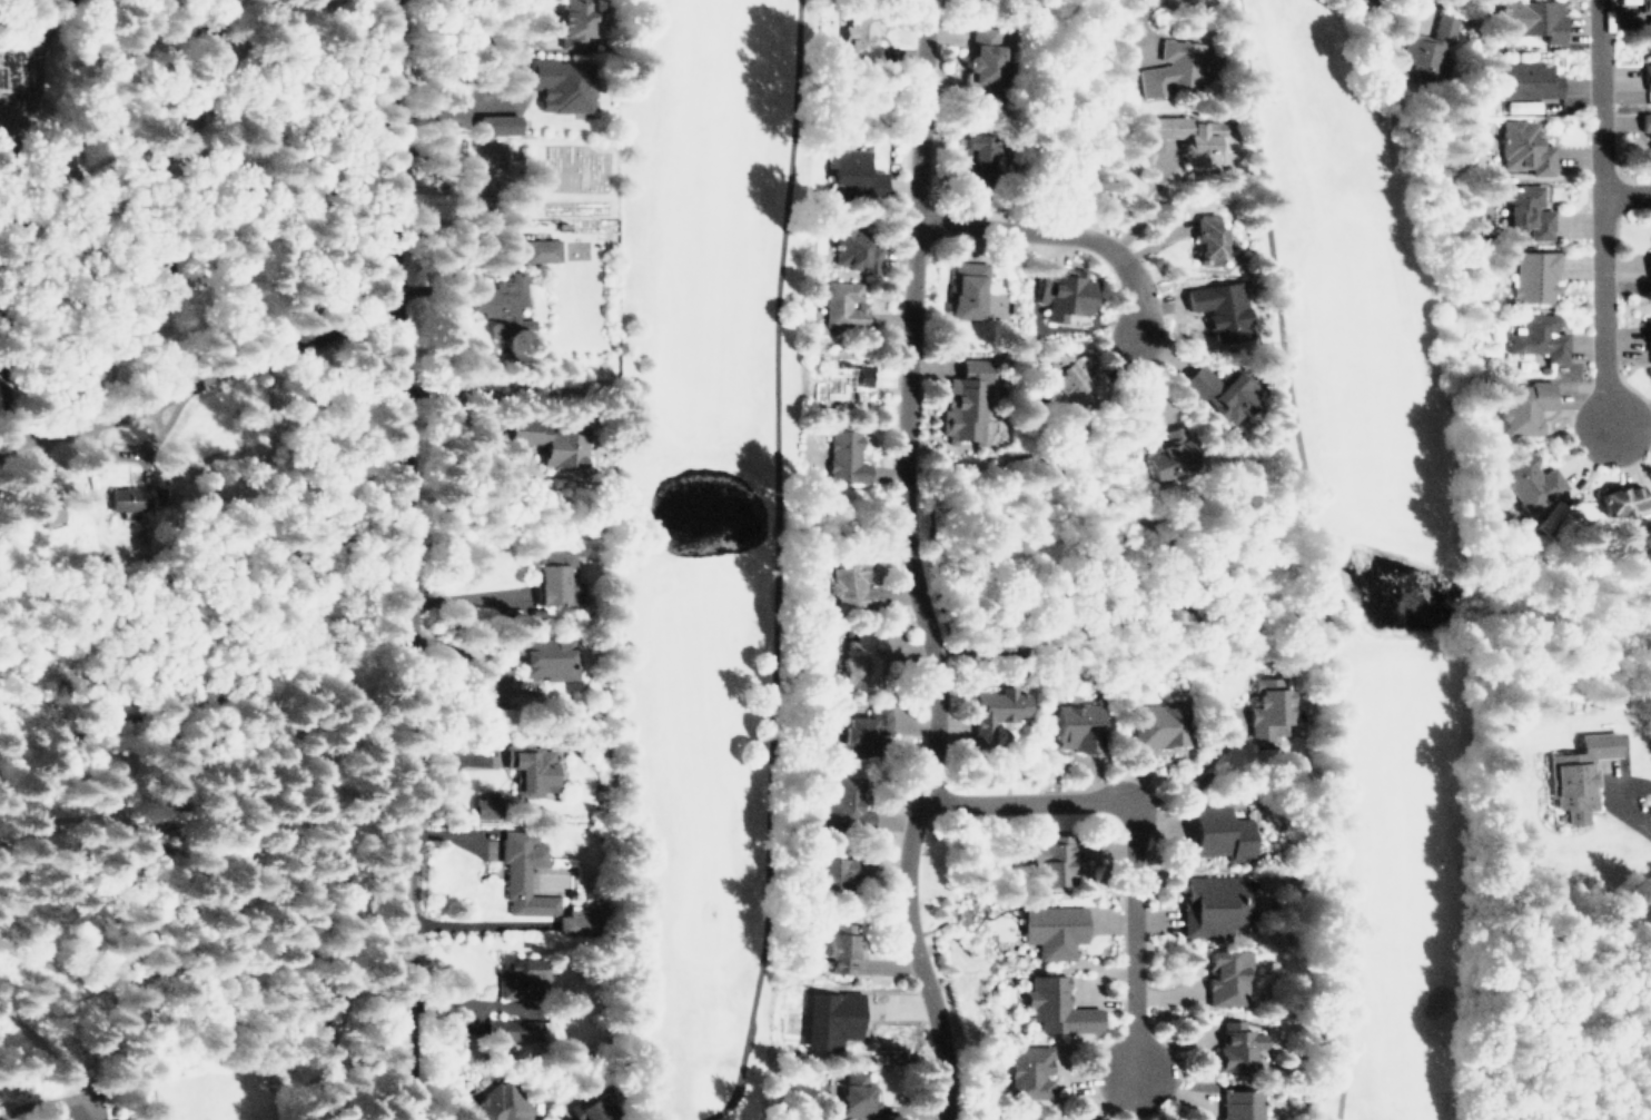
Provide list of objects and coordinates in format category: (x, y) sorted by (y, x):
building: (1647, 8)
building: (575, 17)
building: (1532, 17)
road: (1140, 26)
building: (858, 36)
building: (1426, 42)
building: (986, 51)
building: (1173, 67)
building: (1647, 71)
building: (1528, 79)
building: (564, 86)
building: (1521, 103)
building: (1648, 121)
building: (502, 125)
building: (1188, 130)
building: (1521, 147)
building: (491, 150)
building: (977, 153)
building: (494, 171)
building: (854, 175)
building: (492, 190)
road: (1628, 192)
building: (1525, 210)
road: (1604, 212)
road: (1051, 234)
building: (1209, 235)
building: (852, 244)
building: (537, 245)
building: (1647, 255)
building: (1533, 274)
building: (170, 284)
building: (962, 290)
building: (1060, 294)
building: (500, 301)
building: (841, 304)
building: (1217, 310)
building: (1645, 329)
building: (1536, 333)
road: (196, 366)
building: (1065, 374)
building: (847, 378)
building: (1222, 390)
building: (968, 398)
building: (1525, 403)
building: (552, 437)
building: (846, 457)
building: (1169, 457)
building: (1529, 480)
building: (123, 497)
building: (1618, 499)
building: (1544, 513)
park: (1367, 527)
park: (716, 542)
road: (417, 558)
road: (918, 563)
building: (557, 578)
building: (852, 584)
building: (859, 655)
building: (548, 656)
building: (1266, 703)
building: (995, 711)
building: (497, 714)
building: (1157, 723)
building: (1078, 724)
building: (864, 729)
building: (530, 762)
road: (1186, 773)
building: (1572, 774)
building: (488, 805)
building: (844, 807)
building: (1220, 832)
road: (1129, 837)
building: (1048, 858)
building: (522, 870)
building: (832, 874)
road: (155, 899)
building: (1214, 904)
building: (579, 918)
building: (1052, 930)
building: (839, 940)
building: (1224, 973)
building: (522, 975)
road: (260, 981)
building: (1057, 1004)
building: (828, 1021)
building: (514, 1027)
building: (1236, 1043)
building: (1032, 1070)
building: (856, 1098)
building: (494, 1100)
building: (1240, 1104)
building: (596, 1109)
building: (131, 1119)
building: (1031, 1119)

